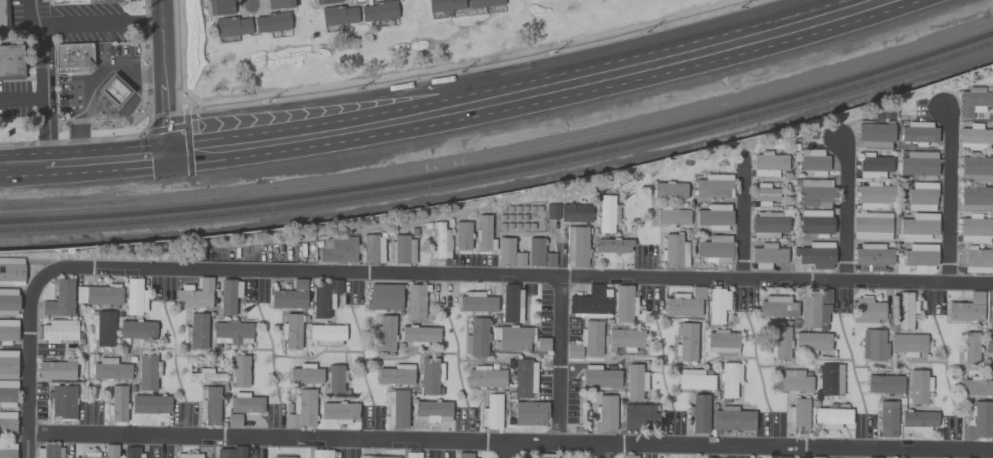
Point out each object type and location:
building: (375, 0)
building: (81, 1)
road: (250, 2)
building: (324, 2)
building: (280, 3)
building: (483, 3)
building: (445, 5)
building: (217, 7)
building: (378, 11)
building: (1, 14)
building: (338, 15)
road: (100, 22)
building: (272, 22)
building: (231, 26)
road: (160, 35)
building: (72, 57)
building: (10, 62)
road: (422, 77)
road: (44, 78)
building: (113, 91)
road: (534, 95)
road: (23, 96)
building: (973, 100)
road: (331, 102)
road: (165, 110)
road: (165, 130)
building: (918, 133)
building: (875, 135)
building: (975, 137)
road: (102, 141)
road: (187, 141)
traffic signals: (168, 152)
railway: (503, 155)
road: (84, 157)
building: (812, 161)
railway: (503, 164)
building: (768, 164)
building: (918, 164)
building: (873, 165)
building: (976, 168)
railway: (503, 173)
building: (713, 186)
building: (668, 190)
building: (814, 192)
building: (764, 194)
building: (874, 196)
building: (921, 196)
road: (948, 196)
building: (976, 197)
road: (846, 210)
building: (552, 212)
building: (575, 213)
building: (607, 214)
building: (671, 216)
building: (714, 217)
building: (815, 223)
building: (768, 224)
road: (743, 225)
building: (919, 225)
building: (871, 226)
building: (975, 229)
building: (483, 233)
building: (462, 235)
building: (439, 241)
building: (612, 245)
building: (576, 246)
building: (372, 249)
building: (402, 249)
building: (714, 249)
building: (337, 250)
building: (673, 251)
building: (508, 253)
building: (538, 253)
building: (767, 255)
building: (815, 255)
building: (871, 257)
building: (920, 257)
building: (977, 260)
building: (11, 271)
road: (512, 279)
building: (299, 284)
building: (99, 295)
building: (194, 295)
building: (228, 295)
building: (824, 295)
building: (135, 297)
building: (324, 297)
building: (383, 297)
building: (60, 299)
building: (287, 299)
building: (991, 299)
building: (8, 302)
building: (416, 302)
building: (476, 302)
building: (590, 302)
building: (684, 303)
building: (511, 304)
building: (624, 304)
building: (717, 304)
building: (777, 307)
building: (966, 308)
building: (812, 310)
building: (905, 310)
building: (866, 311)
building: (992, 313)
building: (991, 320)
building: (102, 327)
building: (822, 327)
building: (58, 330)
building: (291, 330)
building: (8, 331)
building: (137, 331)
building: (197, 331)
building: (232, 332)
building: (384, 333)
building: (326, 334)
building: (419, 335)
building: (477, 337)
building: (512, 337)
building: (591, 337)
building: (625, 339)
building: (722, 341)
building: (686, 342)
building: (811, 342)
building: (780, 343)
building: (542, 344)
building: (873, 344)
building: (908, 345)
building: (988, 346)
building: (970, 348)
building: (573, 351)
road: (559, 361)
building: (8, 364)
road: (29, 364)
building: (56, 369)
building: (111, 370)
building: (240, 371)
building: (147, 372)
building: (395, 374)
building: (207, 375)
building: (305, 375)
building: (430, 376)
building: (484, 377)
building: (599, 377)
building: (524, 378)
building: (729, 378)
building: (336, 379)
building: (694, 379)
building: (830, 380)
building: (793, 381)
building: (635, 382)
building: (884, 384)
building: (918, 386)
building: (976, 386)
building: (7, 393)
building: (62, 402)
building: (117, 404)
building: (151, 404)
building: (245, 404)
building: (209, 405)
building: (397, 408)
building: (302, 409)
building: (339, 411)
building: (432, 411)
building: (491, 412)
building: (530, 413)
building: (605, 413)
building: (698, 413)
building: (638, 416)
building: (832, 417)
building: (798, 418)
building: (887, 418)
building: (732, 419)
building: (234, 420)
building: (918, 420)
building: (977, 421)
building: (7, 422)
road: (510, 443)
building: (110, 448)
building: (7, 450)
road: (506, 450)
building: (49, 451)
road: (602, 451)
building: (131, 452)
building: (239, 452)
building: (224, 453)
building: (321, 453)
building: (188, 455)
building: (412, 455)
building: (464, 455)
building: (628, 456)
building: (283, 457)
building: (383, 457)
building: (704, 457)
building: (782, 457)
building: (817, 457)

